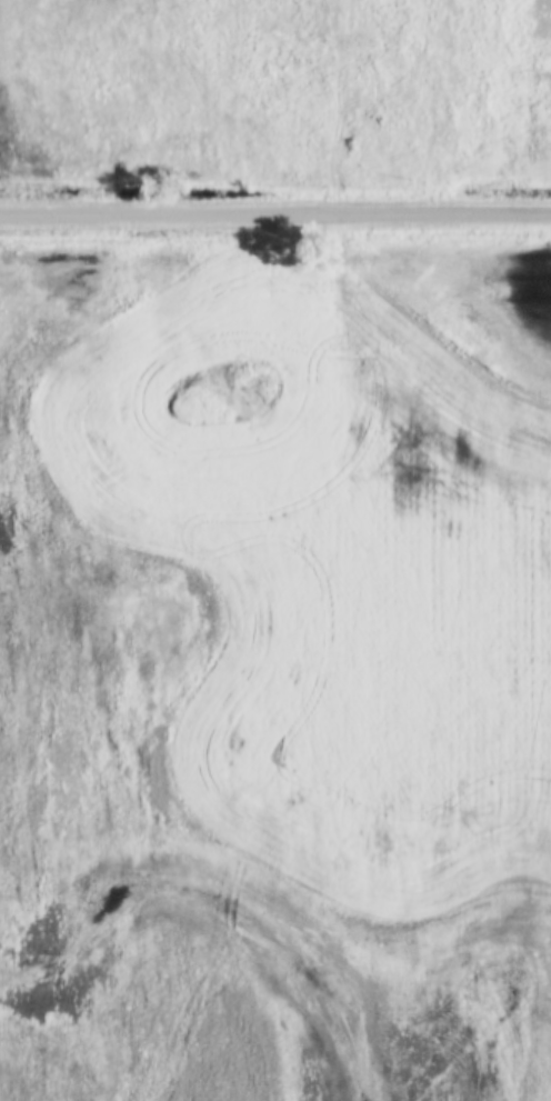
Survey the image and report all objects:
road: (274, 214)
crop: (275, 677)

